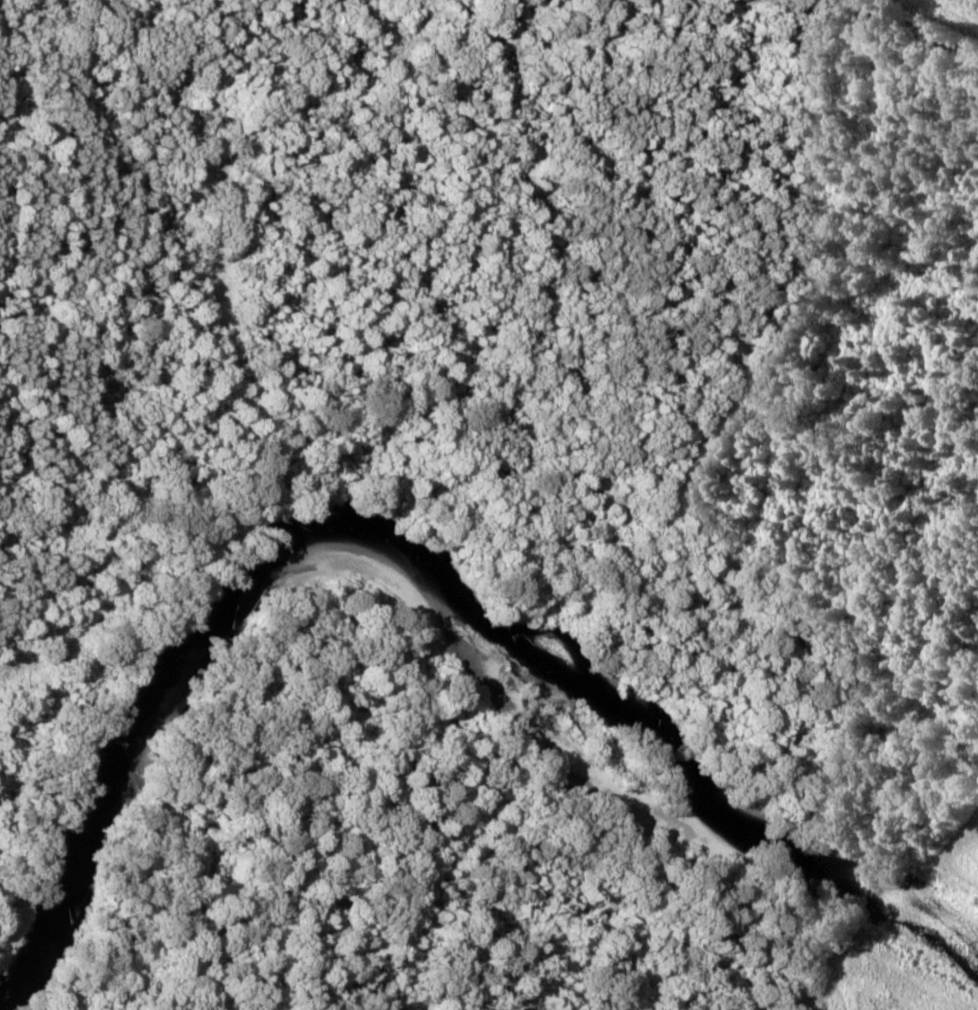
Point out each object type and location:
road: (811, 62)

